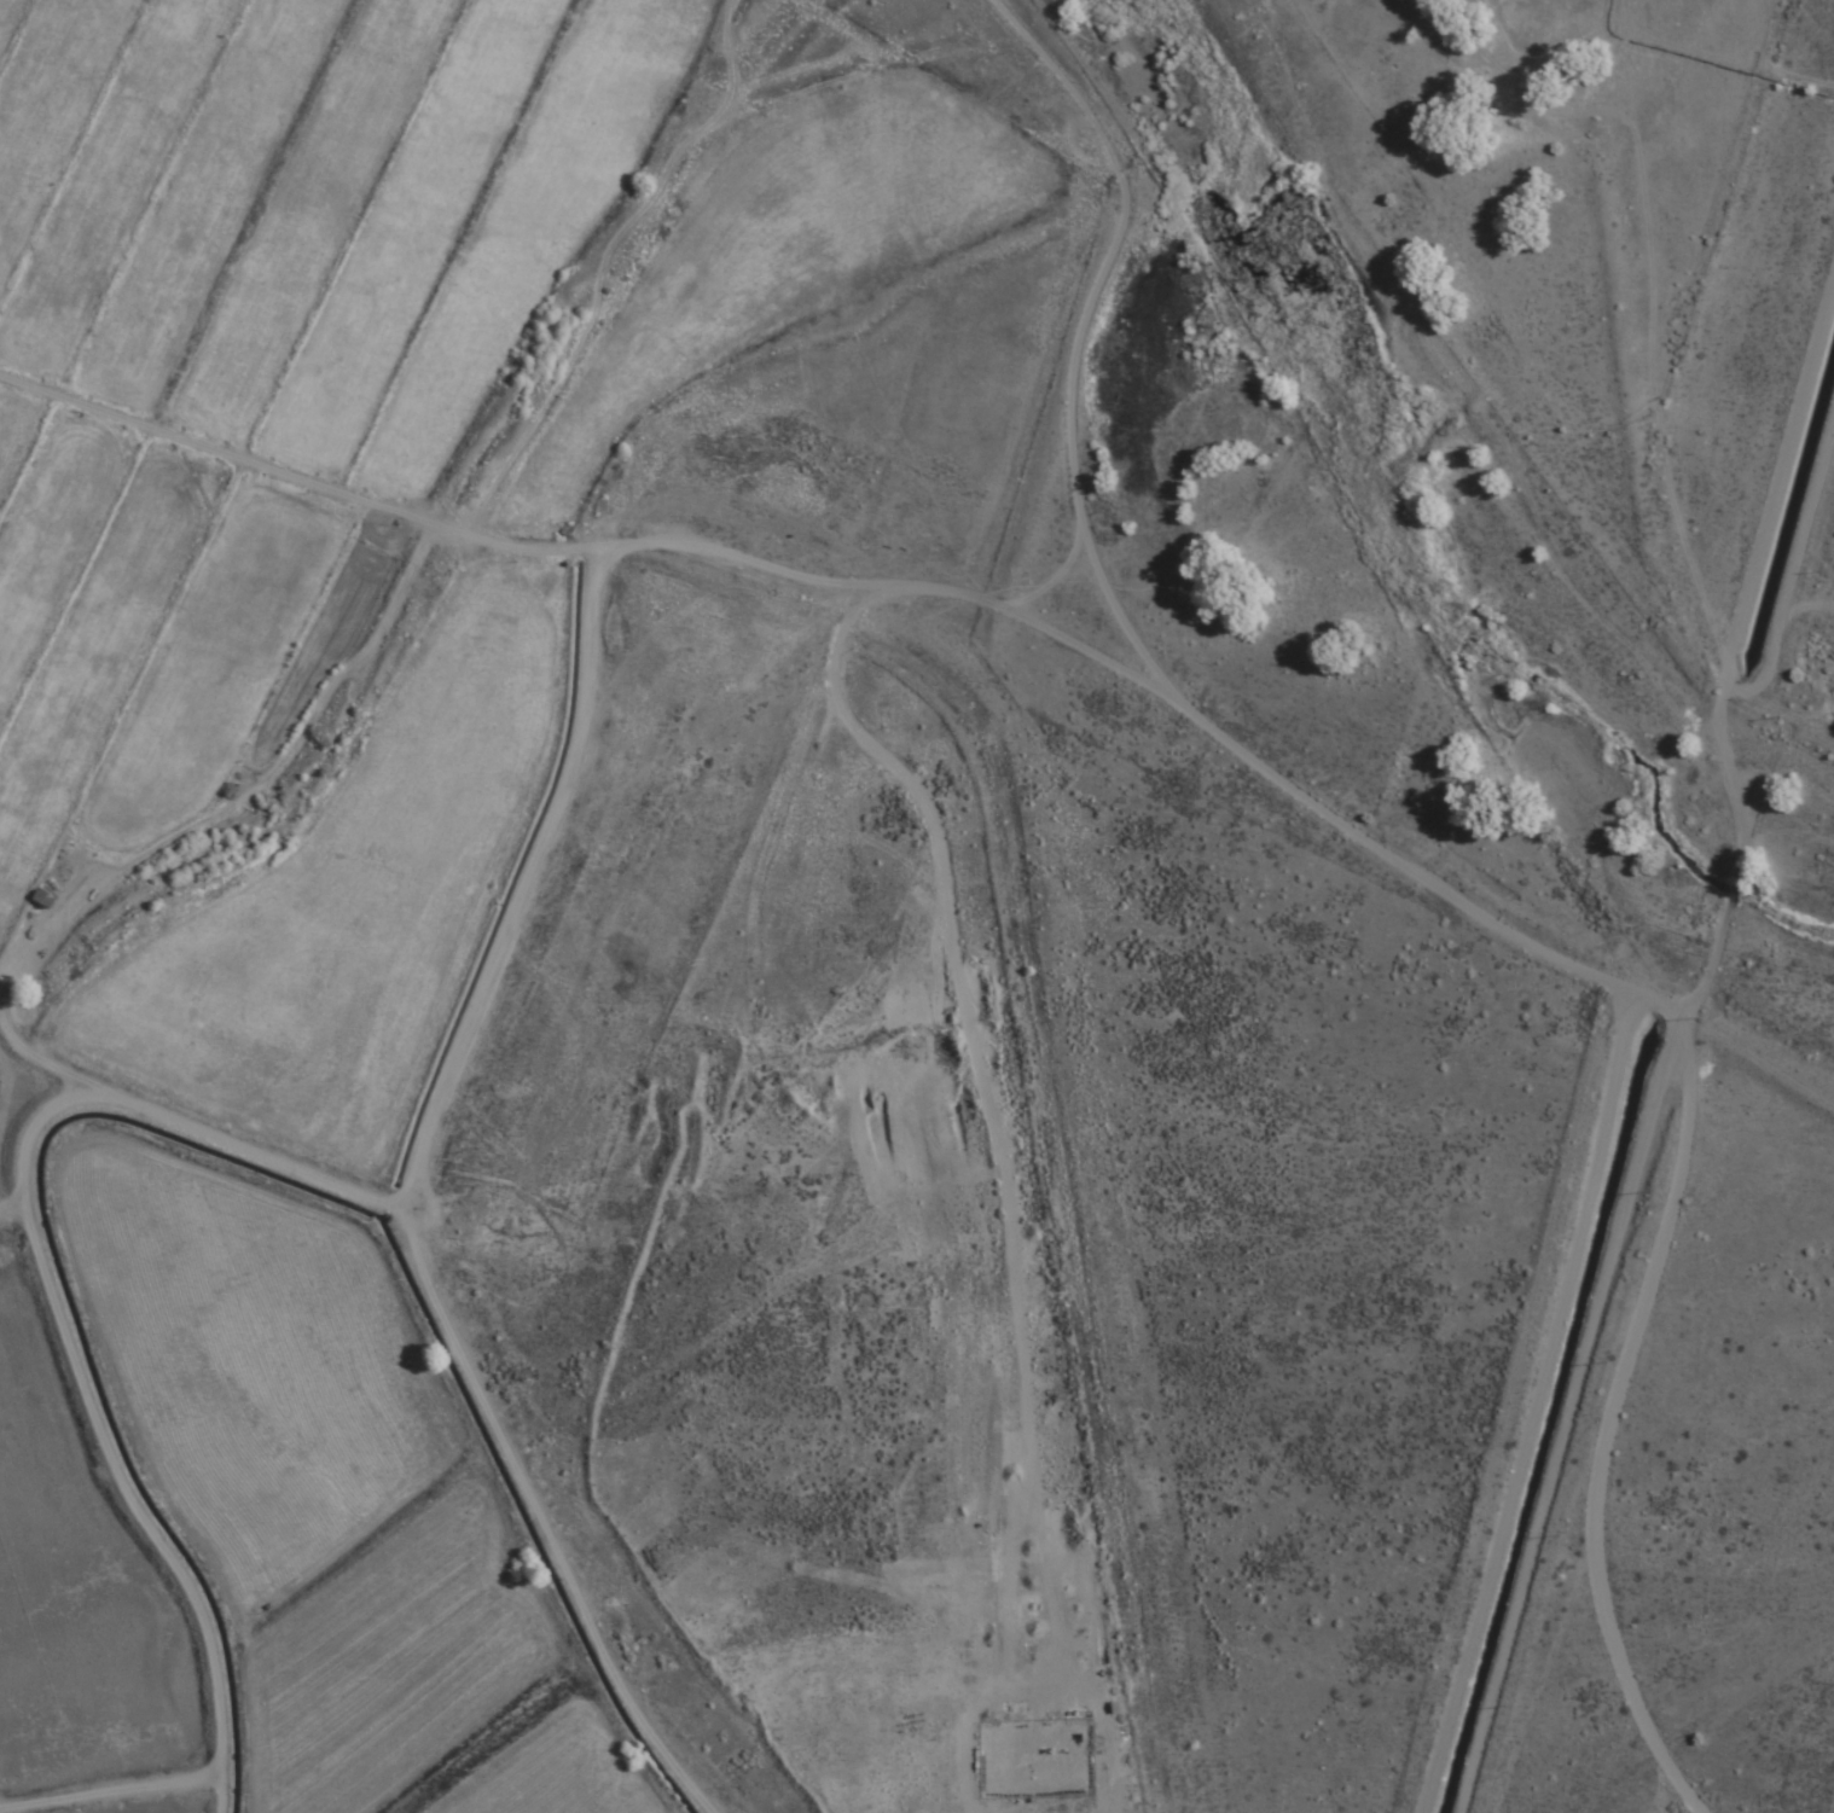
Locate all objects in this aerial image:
river: (1408, 506)
building: (1121, 1800)

